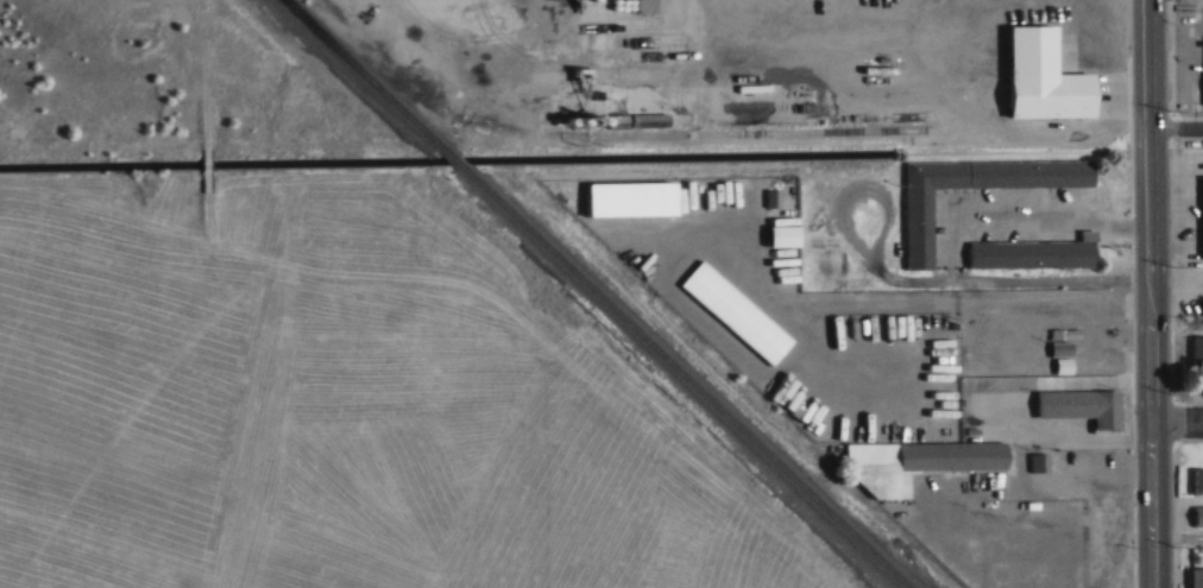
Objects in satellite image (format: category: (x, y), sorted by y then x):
building: (649, 6)
building: (1047, 86)
building: (649, 119)
road: (1179, 131)
building: (1202, 210)
building: (451, 230)
building: (921, 234)
building: (1033, 260)
railway: (600, 292)
road: (1157, 293)
building: (739, 318)
building: (1197, 353)
building: (1082, 405)
road: (1180, 423)
building: (956, 462)
building: (1038, 462)
building: (1198, 480)
building: (1199, 514)
road: (1180, 537)
building: (1196, 576)

